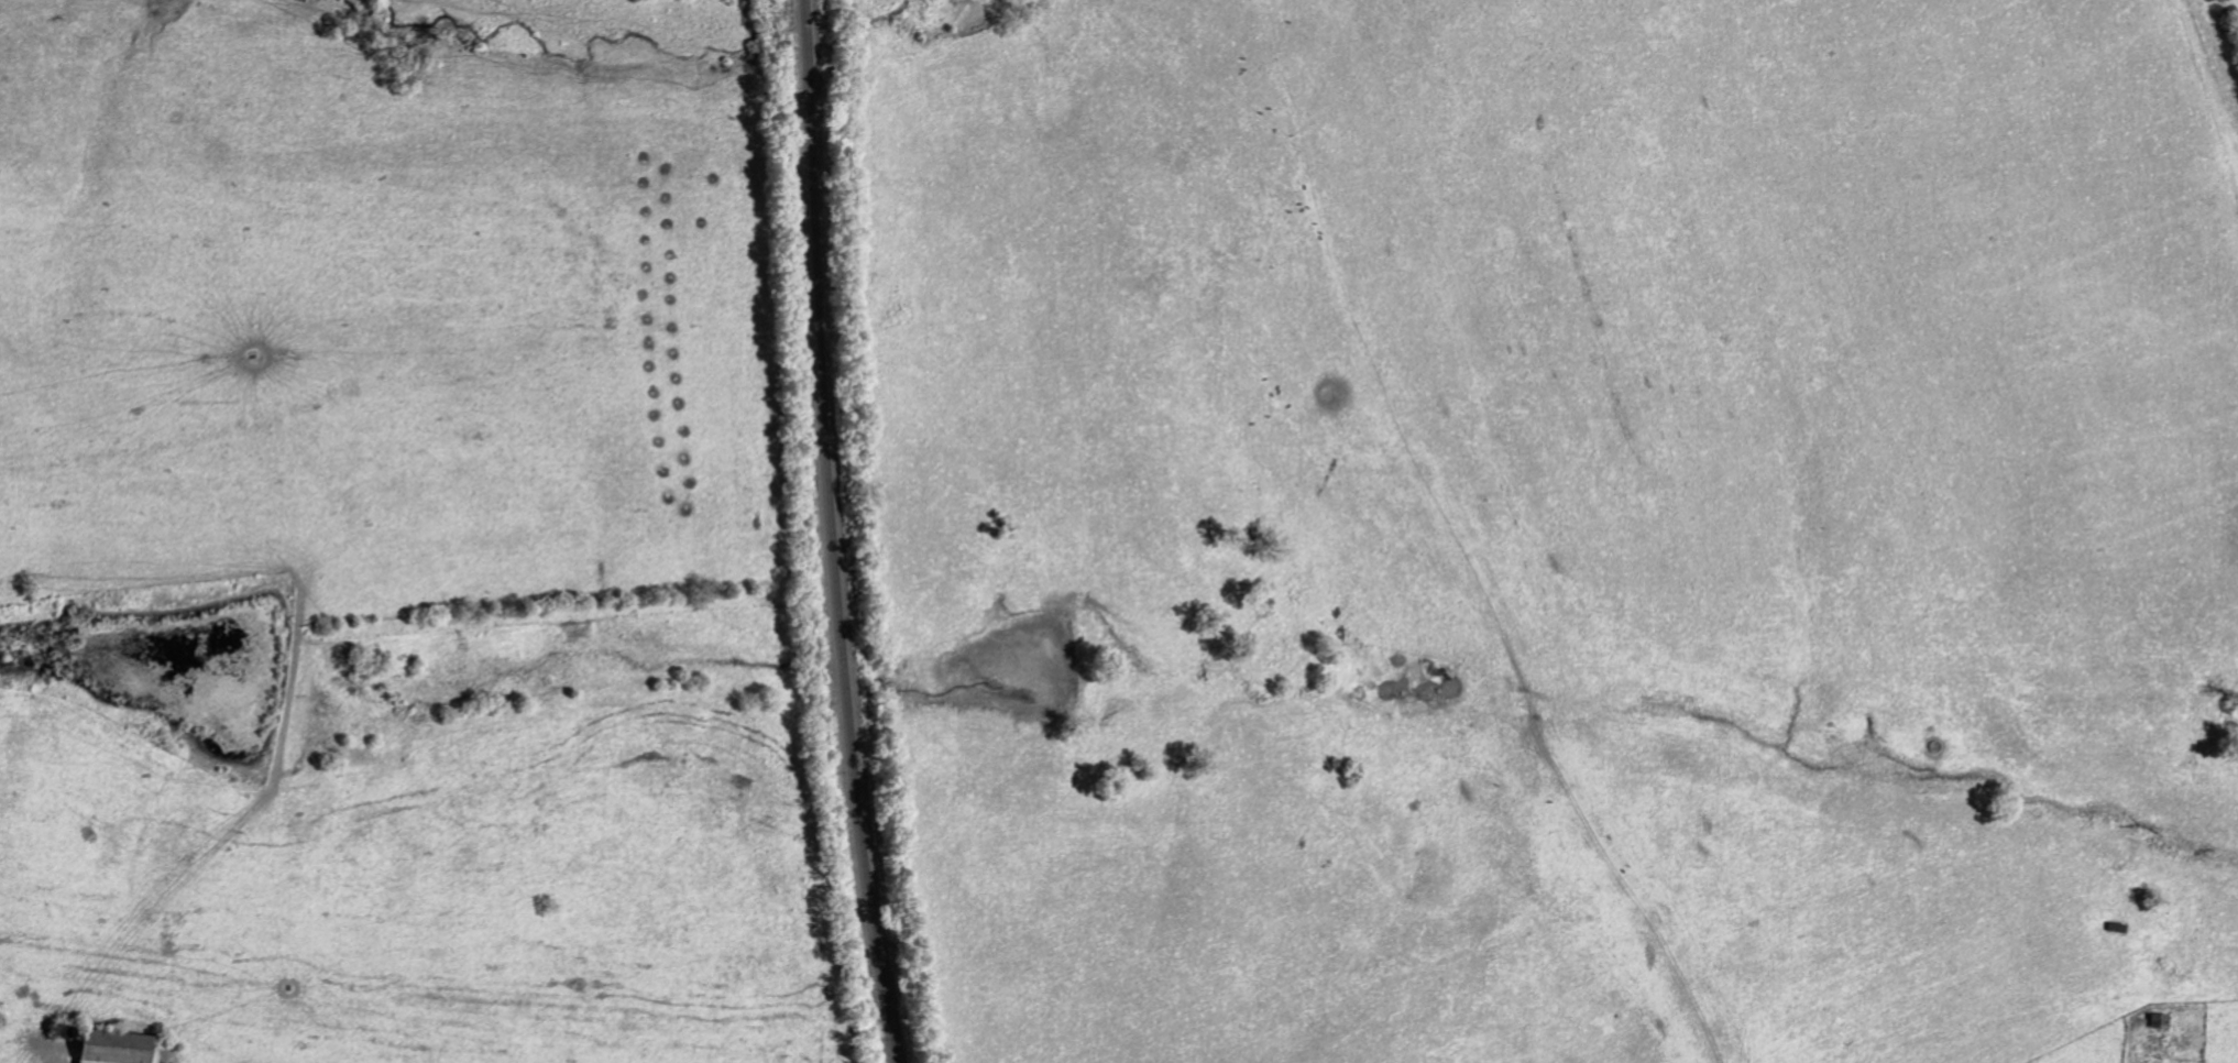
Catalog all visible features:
railway: (838, 533)
building: (111, 1048)

